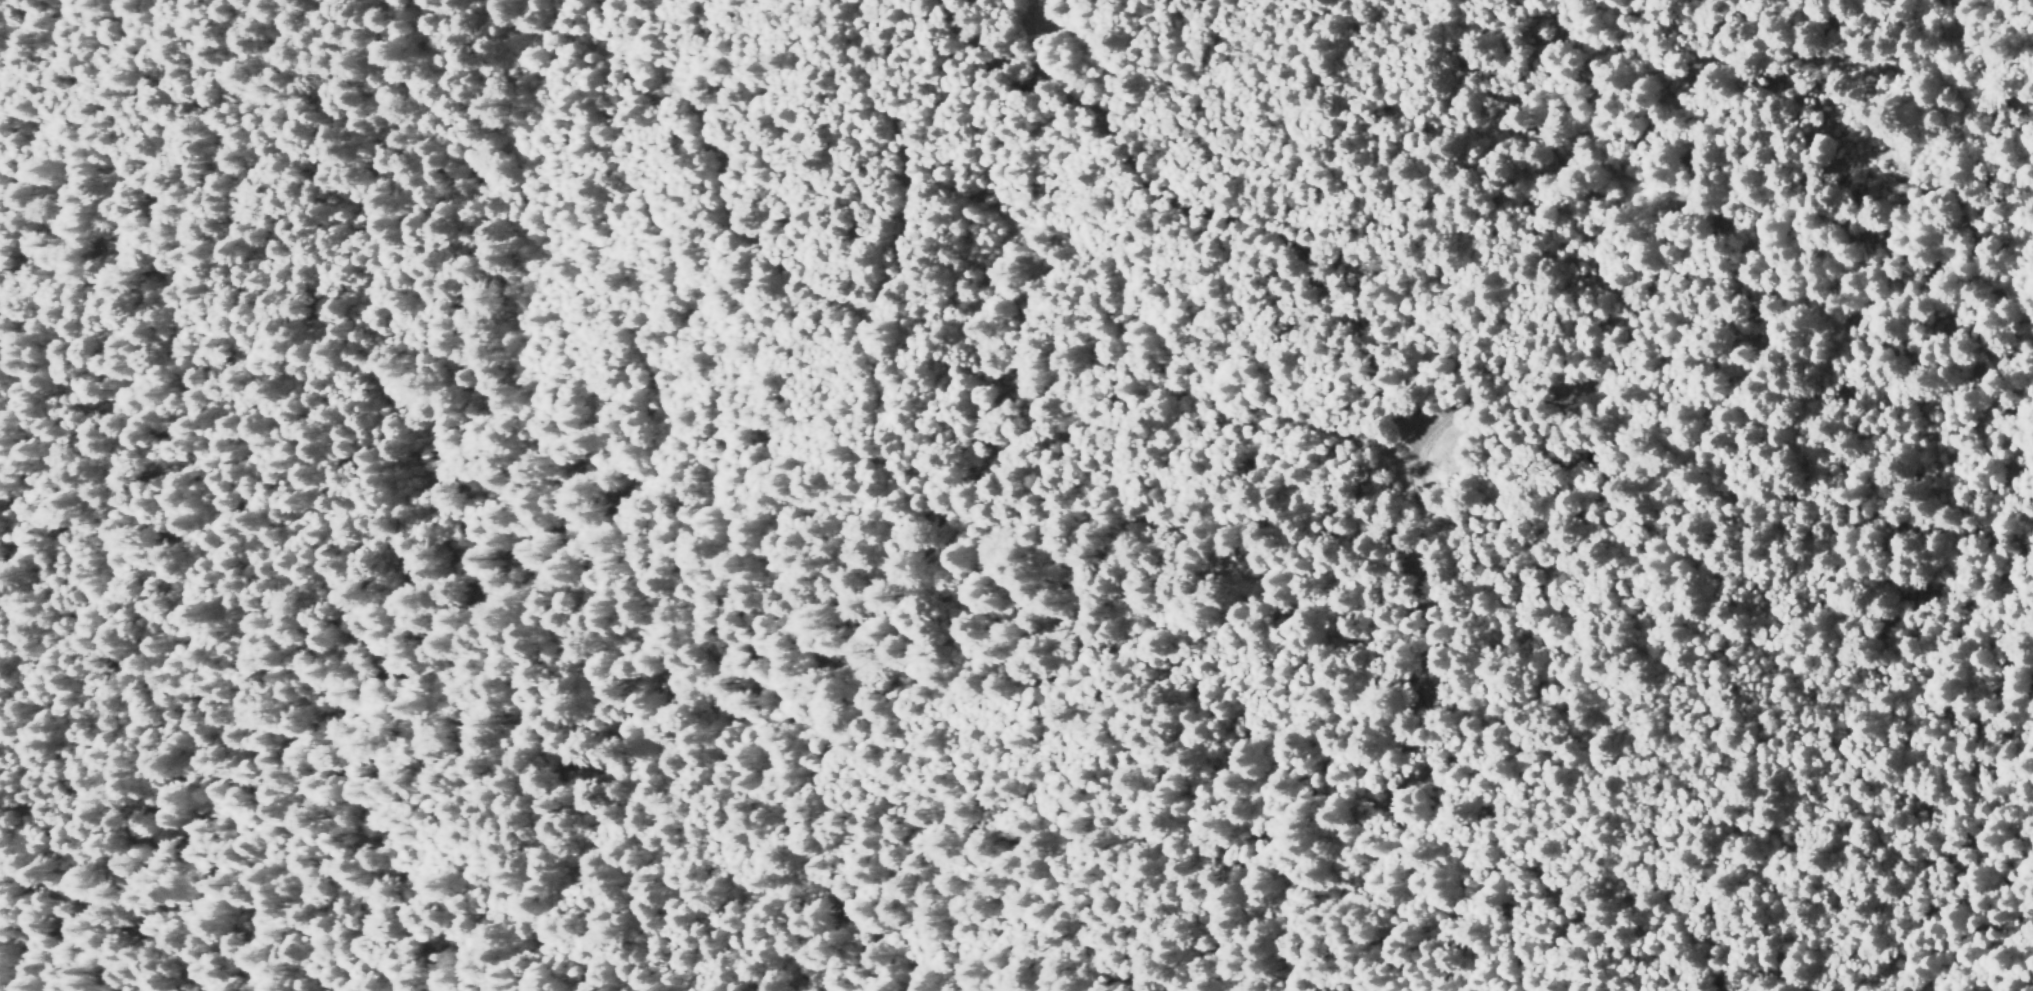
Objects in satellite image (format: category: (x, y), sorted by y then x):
road: (1418, 447)

